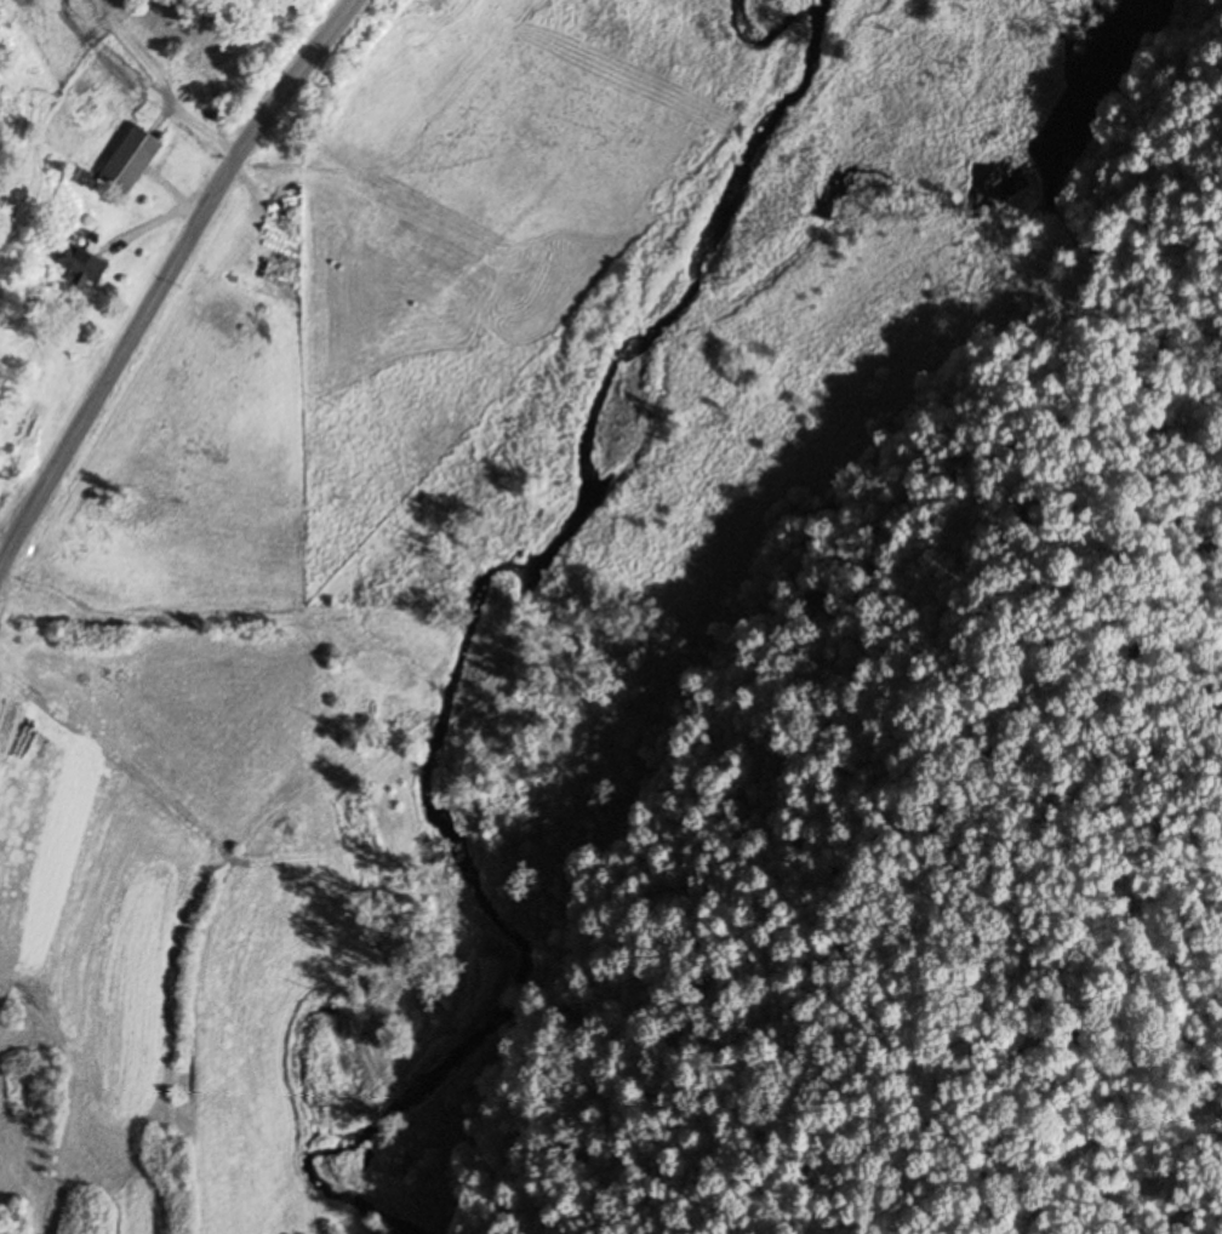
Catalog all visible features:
road: (165, 85)
building: (133, 162)
road: (172, 189)
road: (152, 223)
building: (87, 264)
road: (162, 276)
building: (467, 903)

